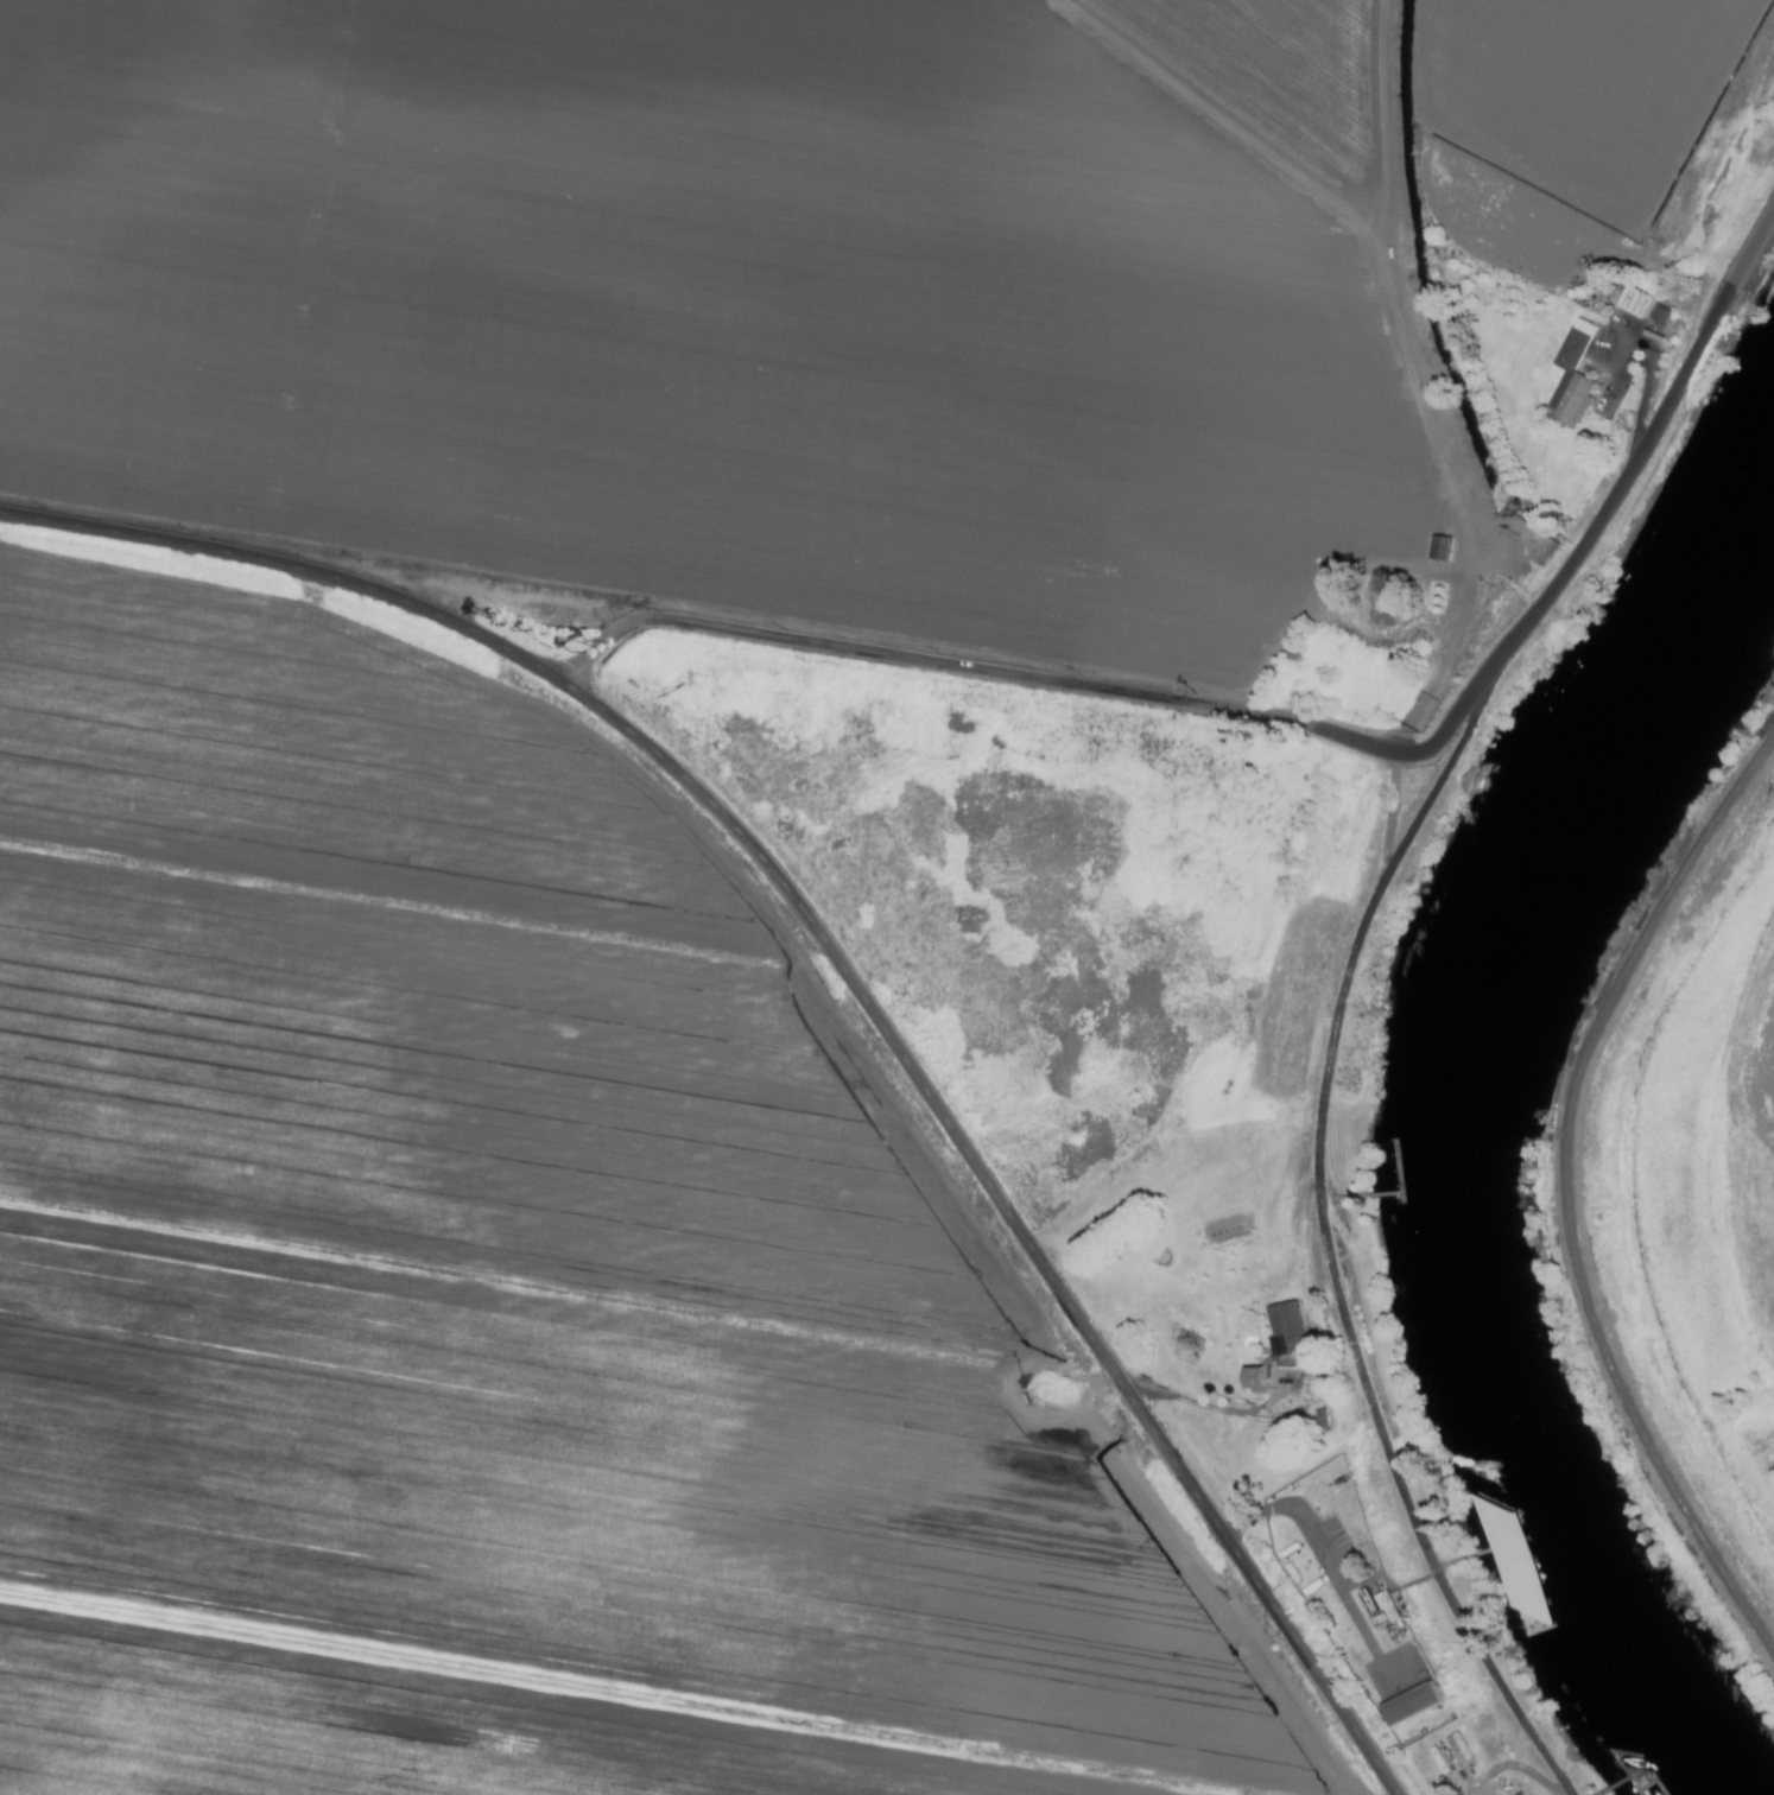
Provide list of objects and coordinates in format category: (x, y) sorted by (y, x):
road: (1646, 376)
building: (1569, 378)
road: (1414, 388)
road: (1570, 571)
road: (591, 654)
road: (937, 664)
crop: (636, 842)
road: (843, 966)
crop: (1705, 1216)
building: (1284, 1323)
road: (1197, 1403)
road: (1317, 1556)
building: (1405, 1704)

